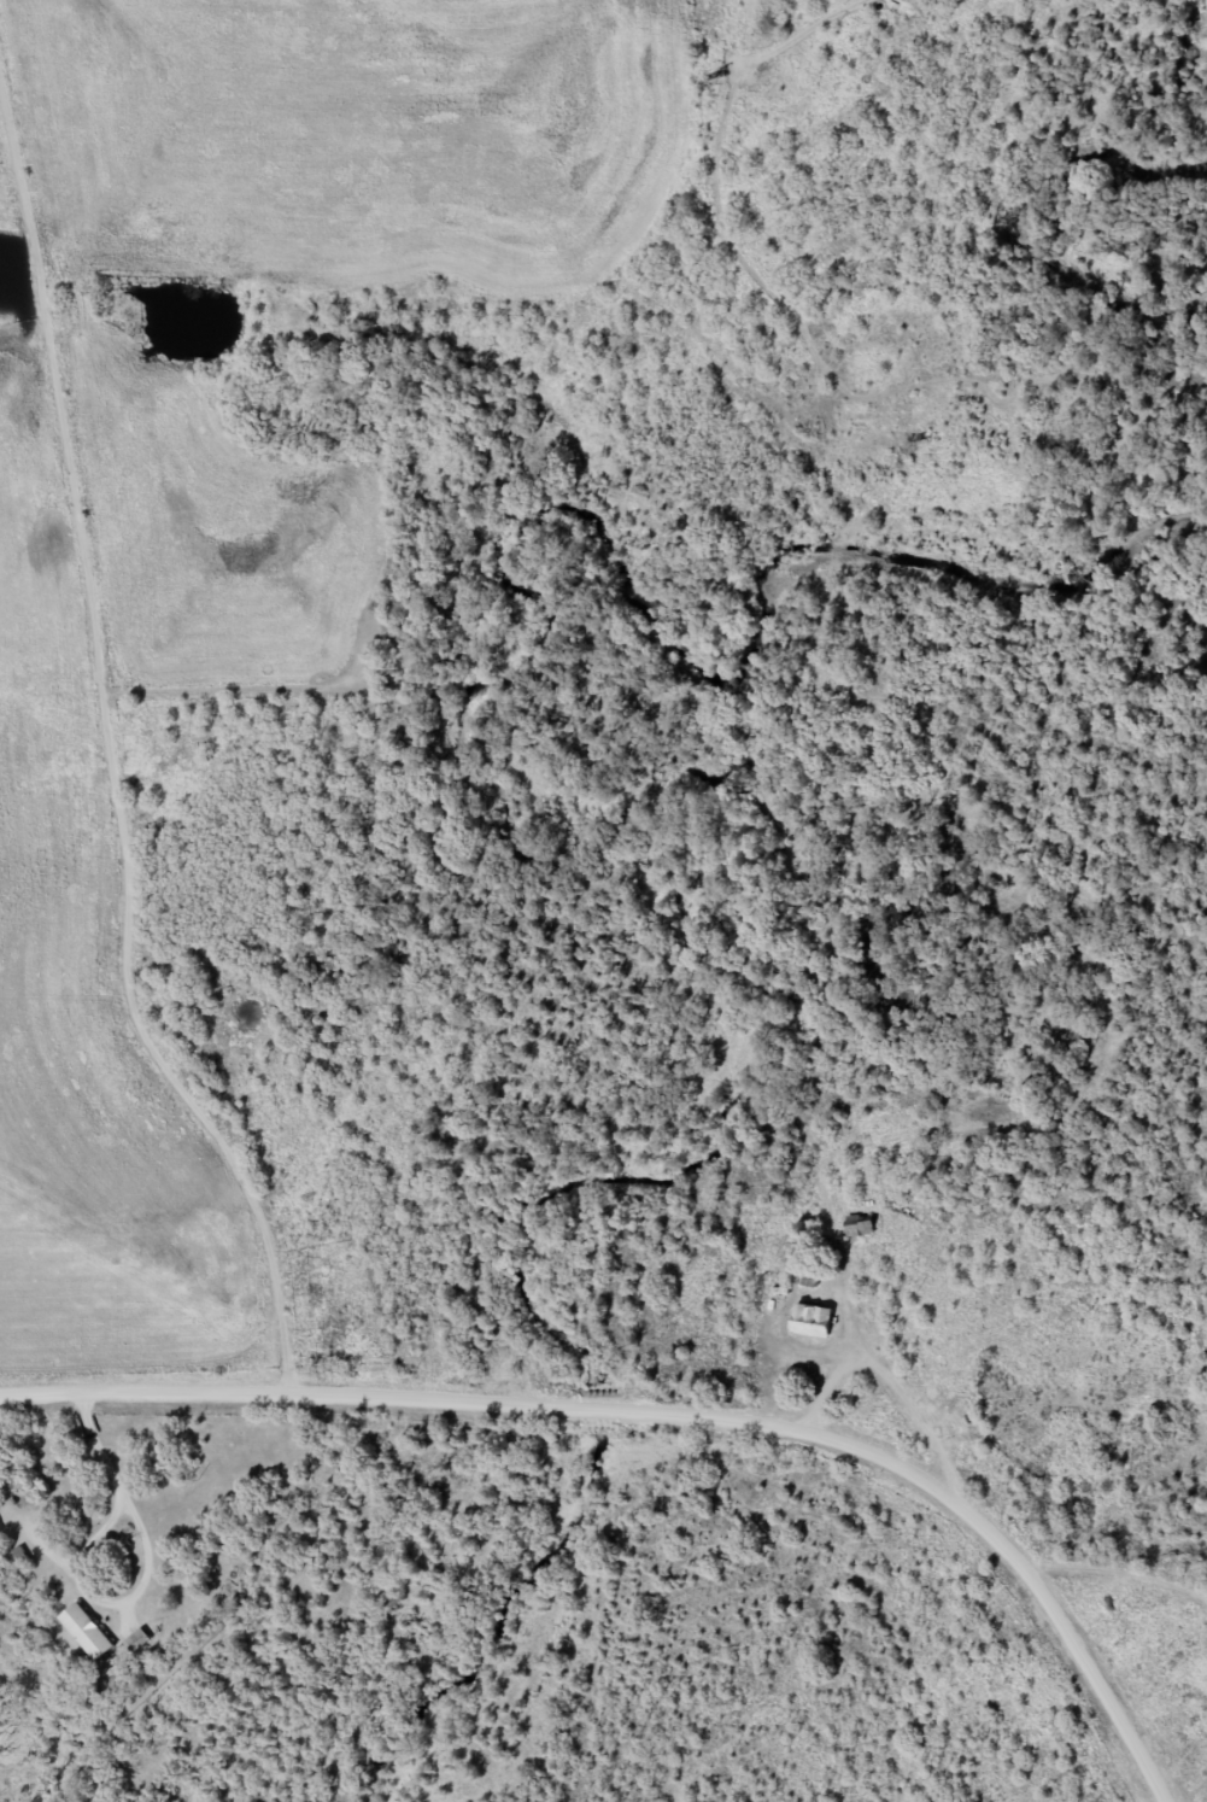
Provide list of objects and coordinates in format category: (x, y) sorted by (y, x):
road: (39, 539)
park: (399, 668)
road: (107, 708)
building: (862, 1227)
building: (811, 1322)
road: (532, 1403)
building: (86, 1632)
building: (136, 1640)
road: (1101, 1683)

